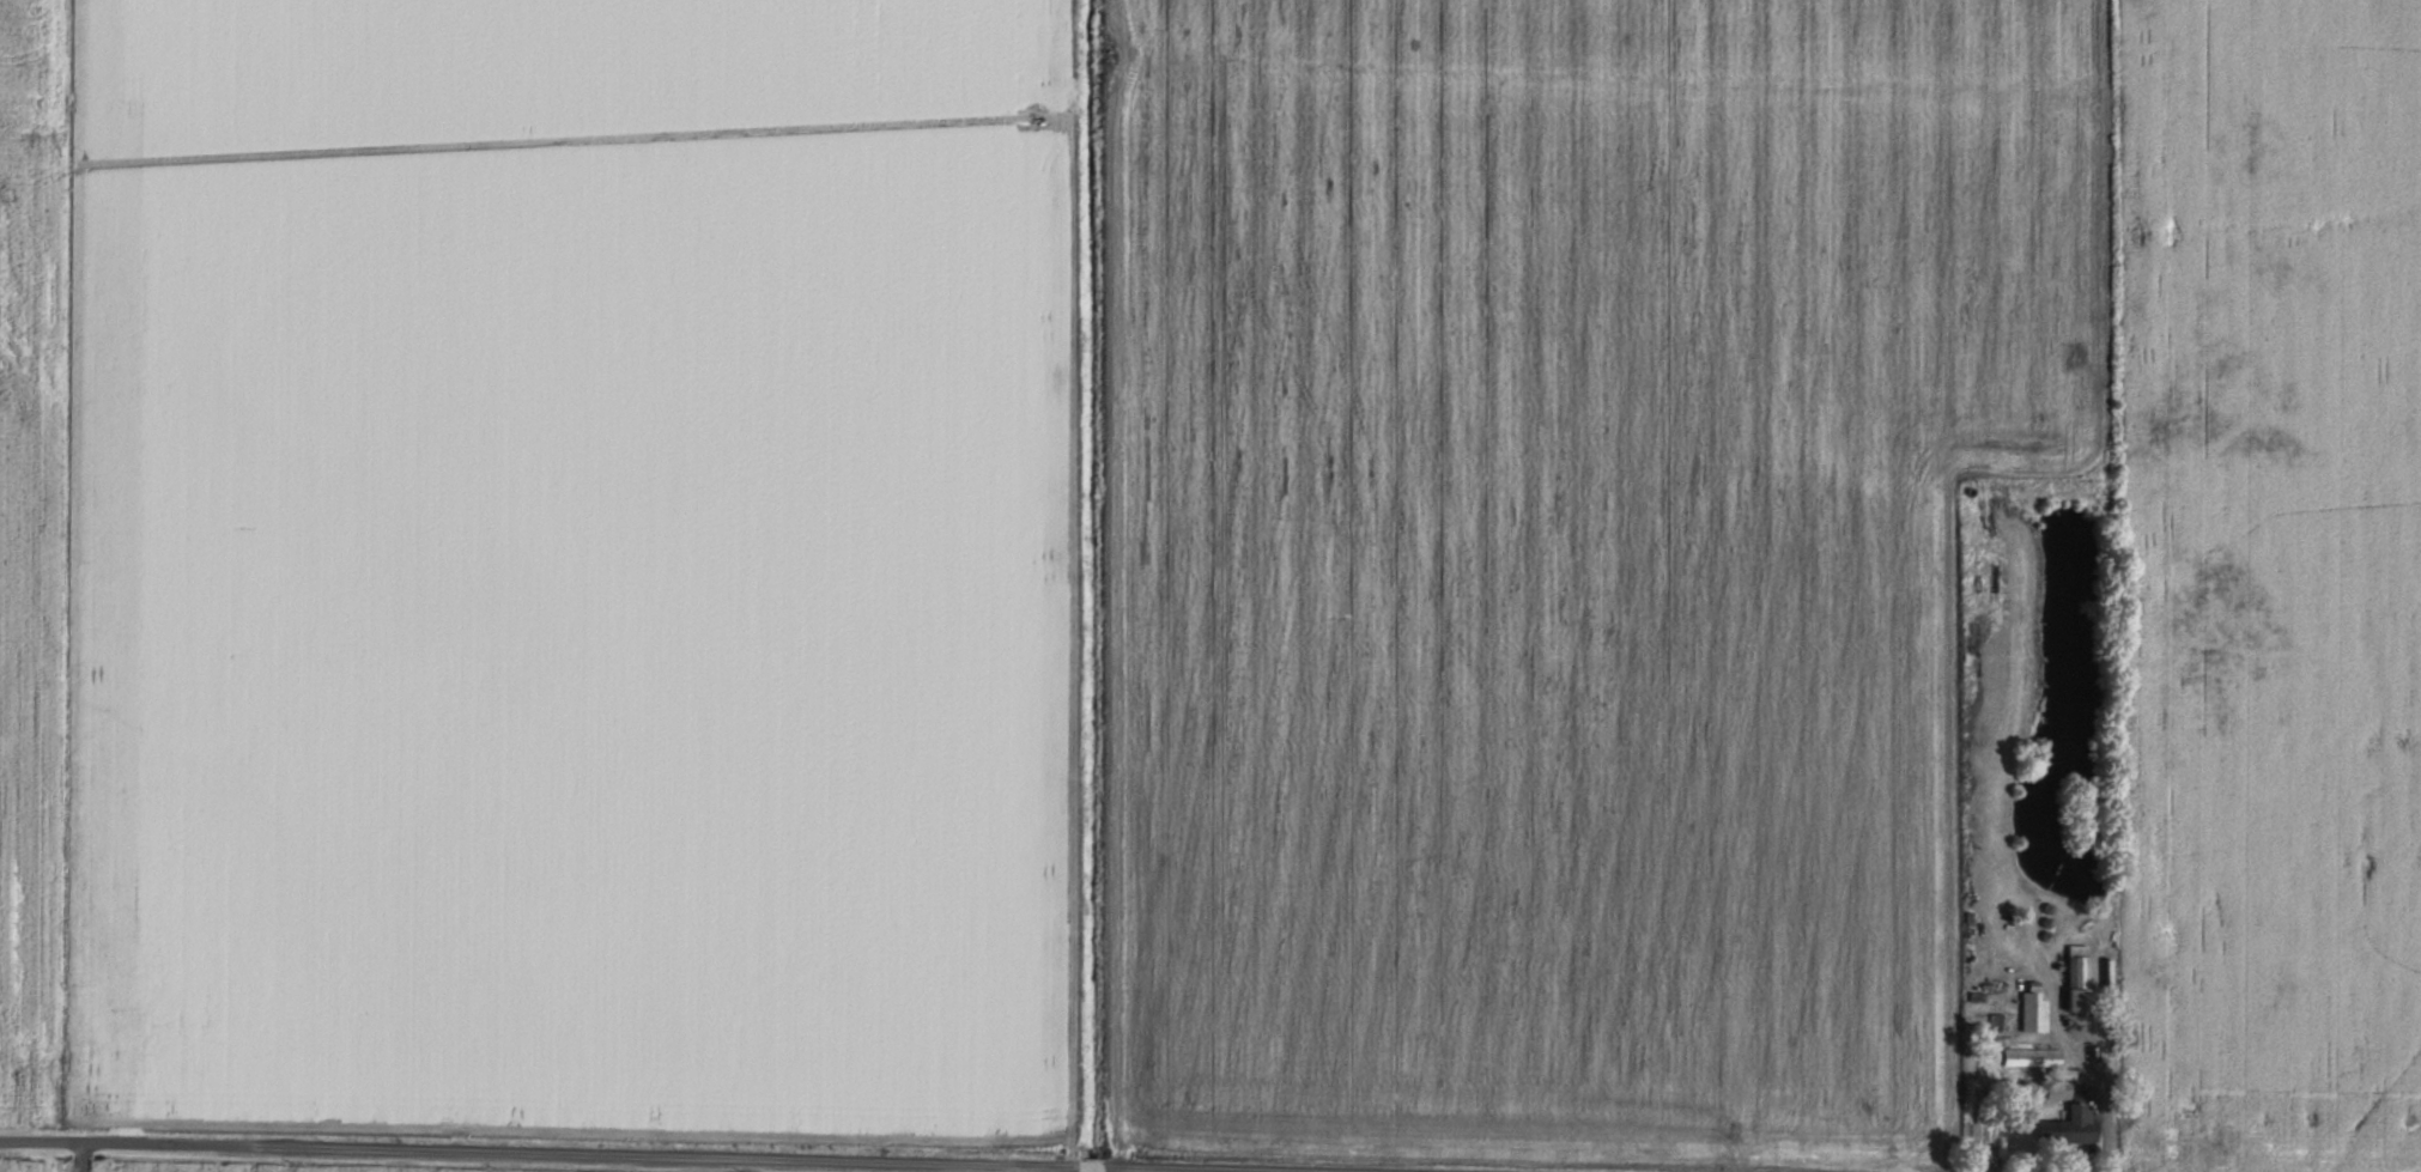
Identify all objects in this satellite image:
building: (2080, 977)
building: (2035, 1009)
building: (2033, 1055)
building: (2059, 1088)
building: (2071, 1124)
road: (644, 1154)
road: (75, 1156)

